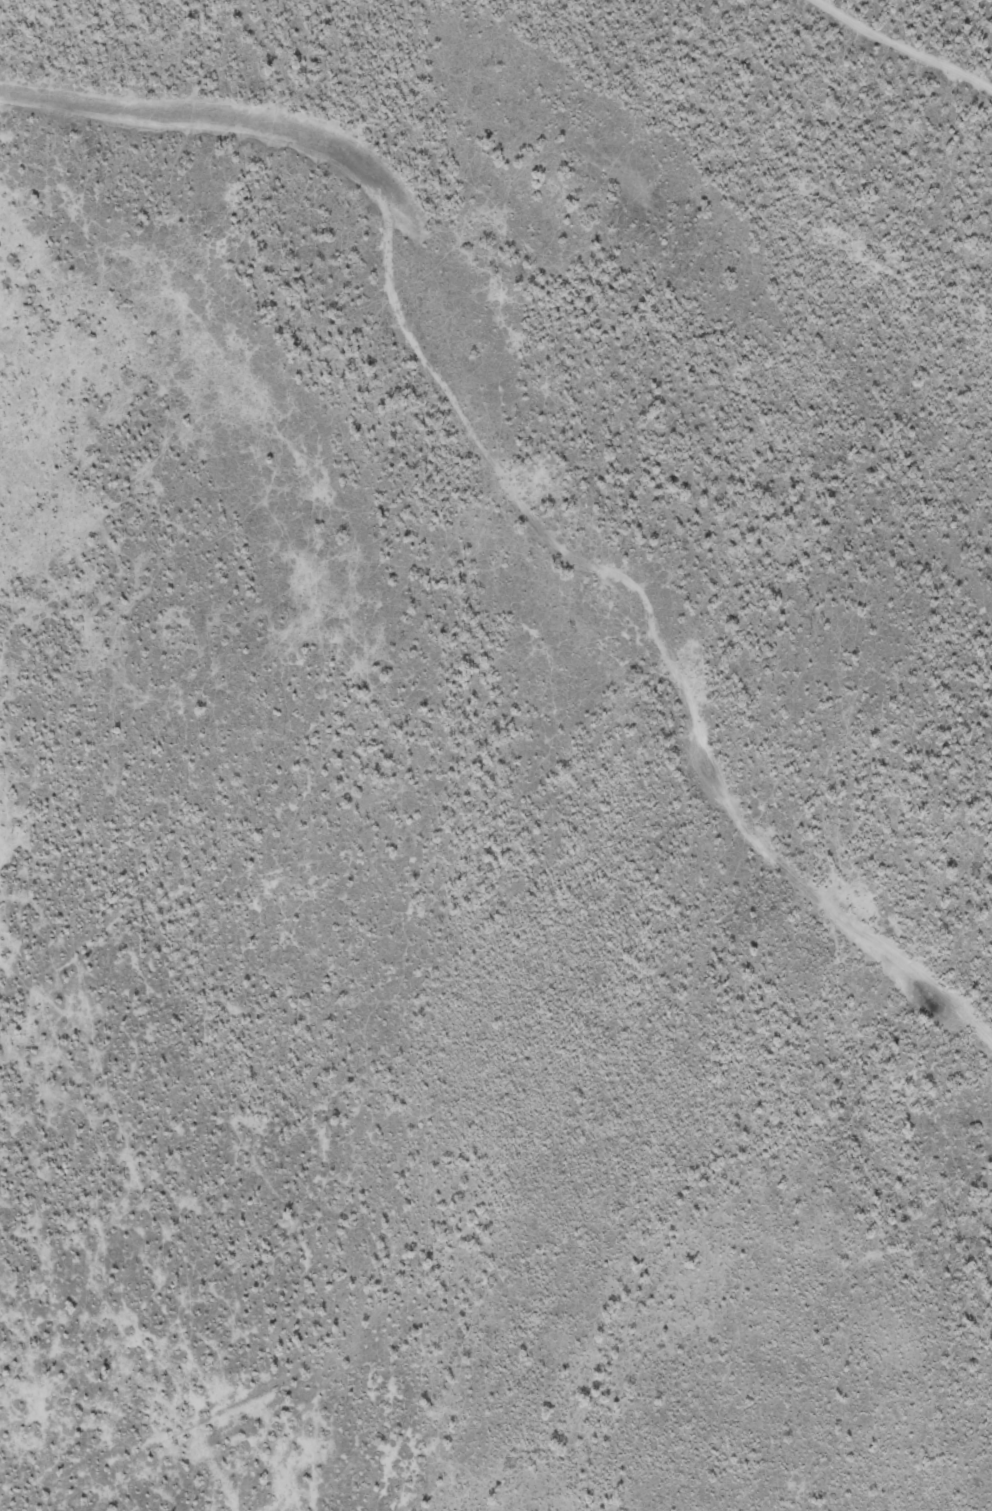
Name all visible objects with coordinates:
road: (895, 45)

